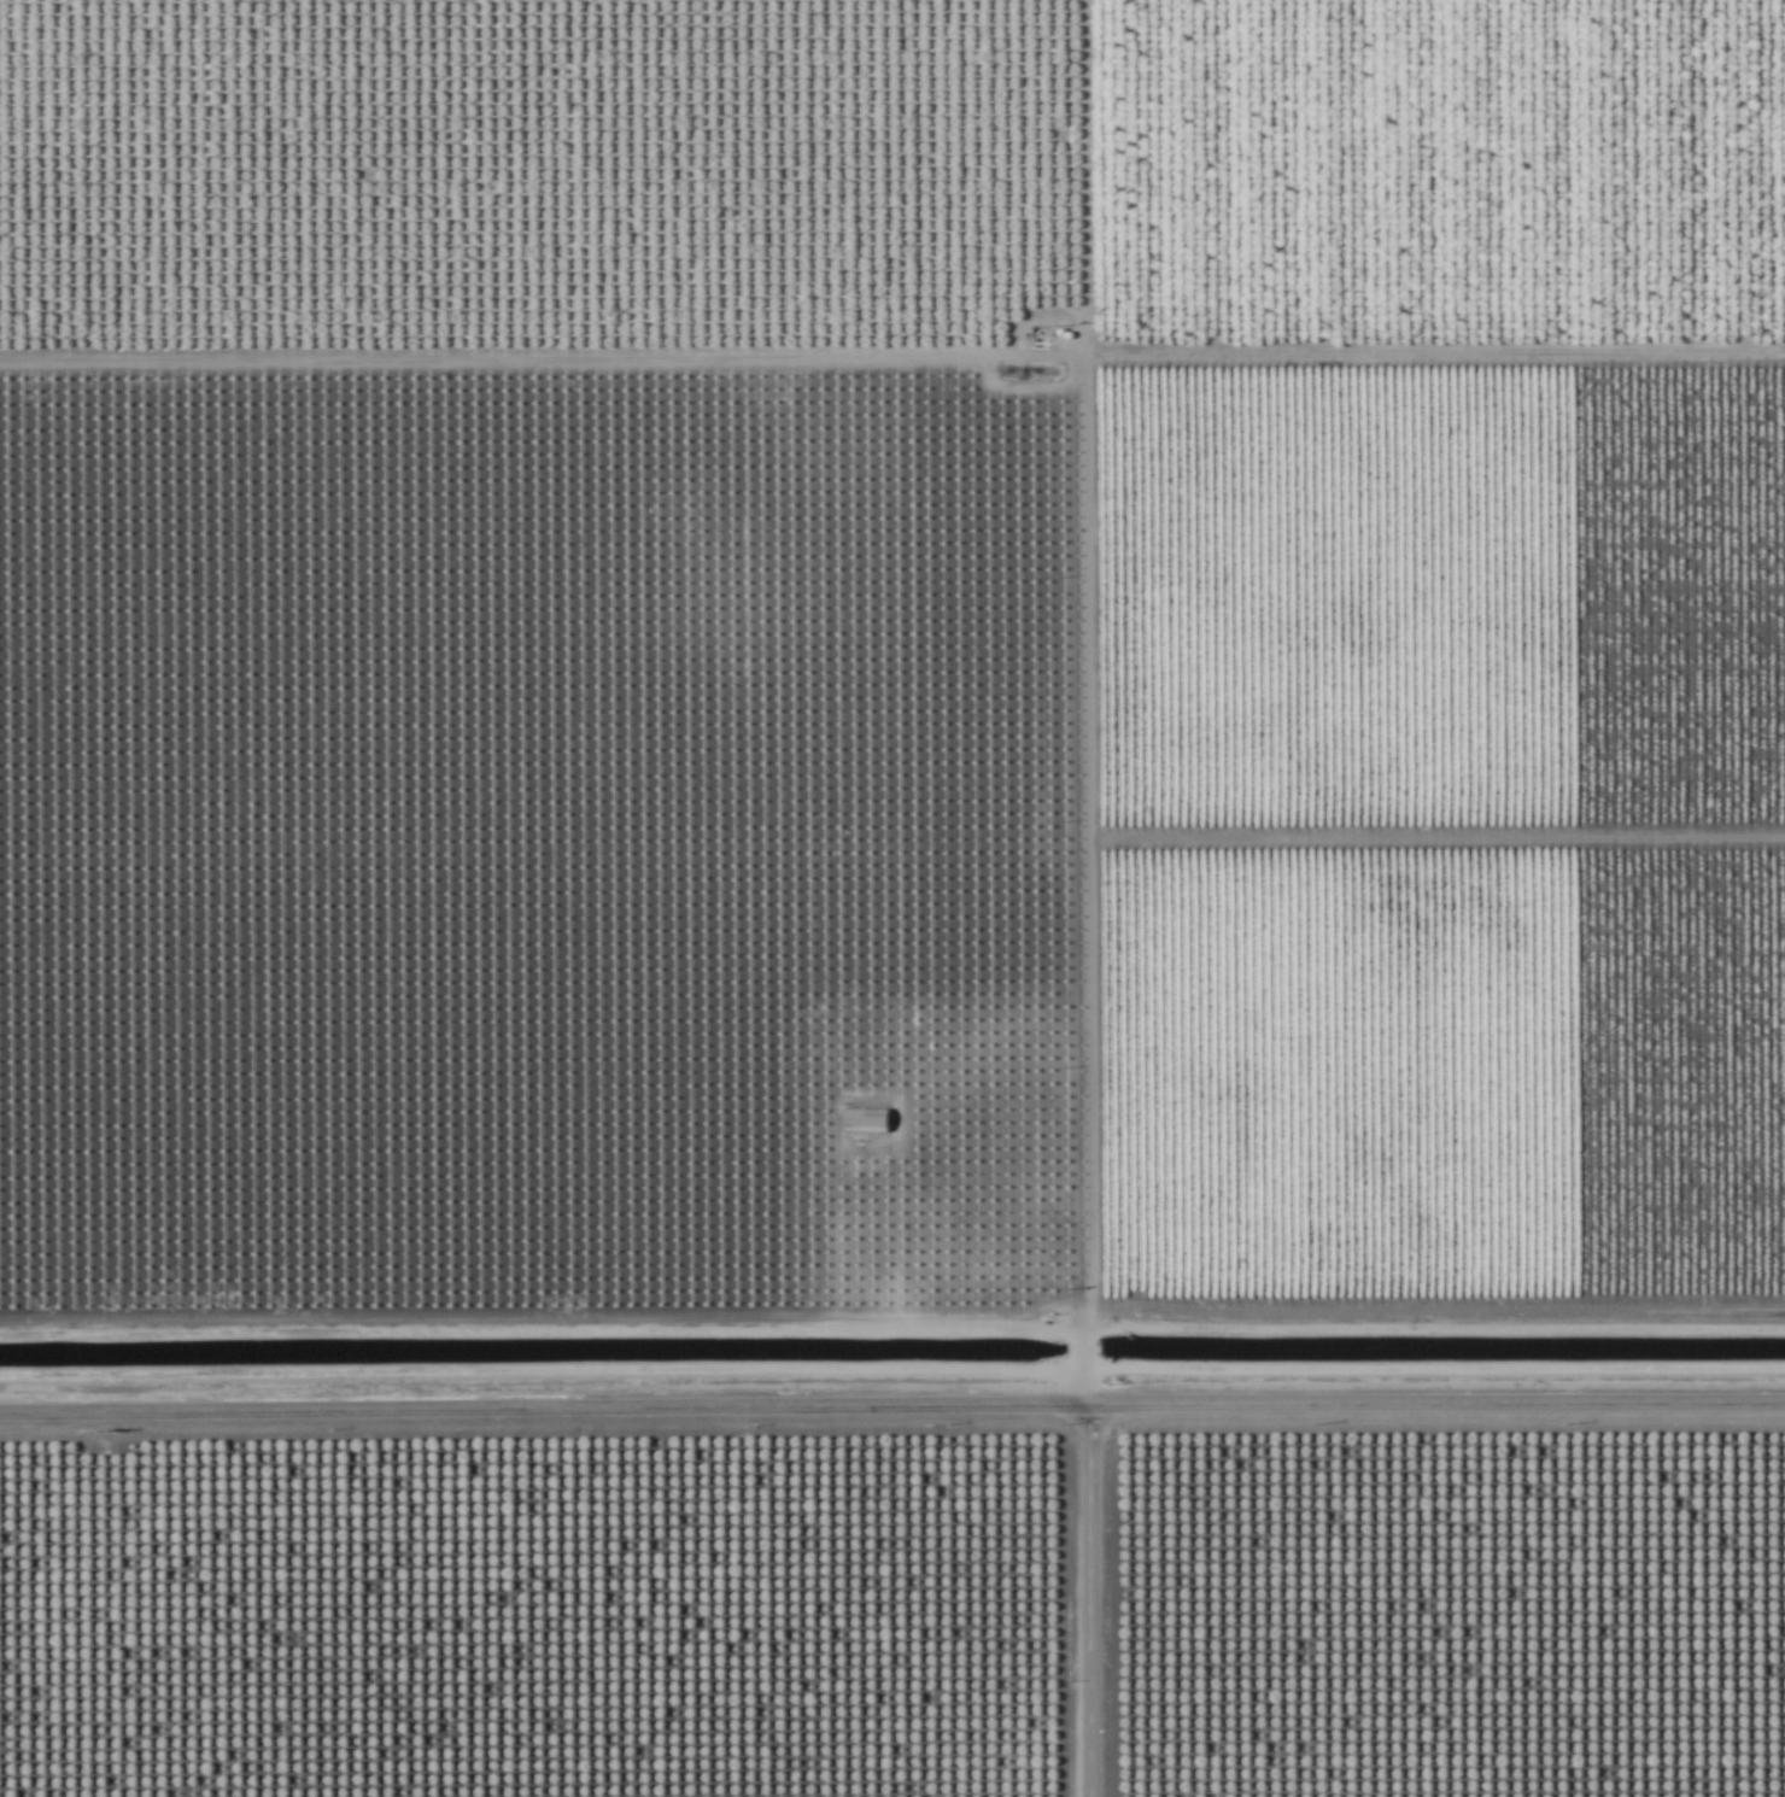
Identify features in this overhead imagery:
road: (1081, 697)
crop: (892, 898)
building: (865, 1122)
road: (540, 1331)
road: (891, 1395)
road: (1085, 1596)

